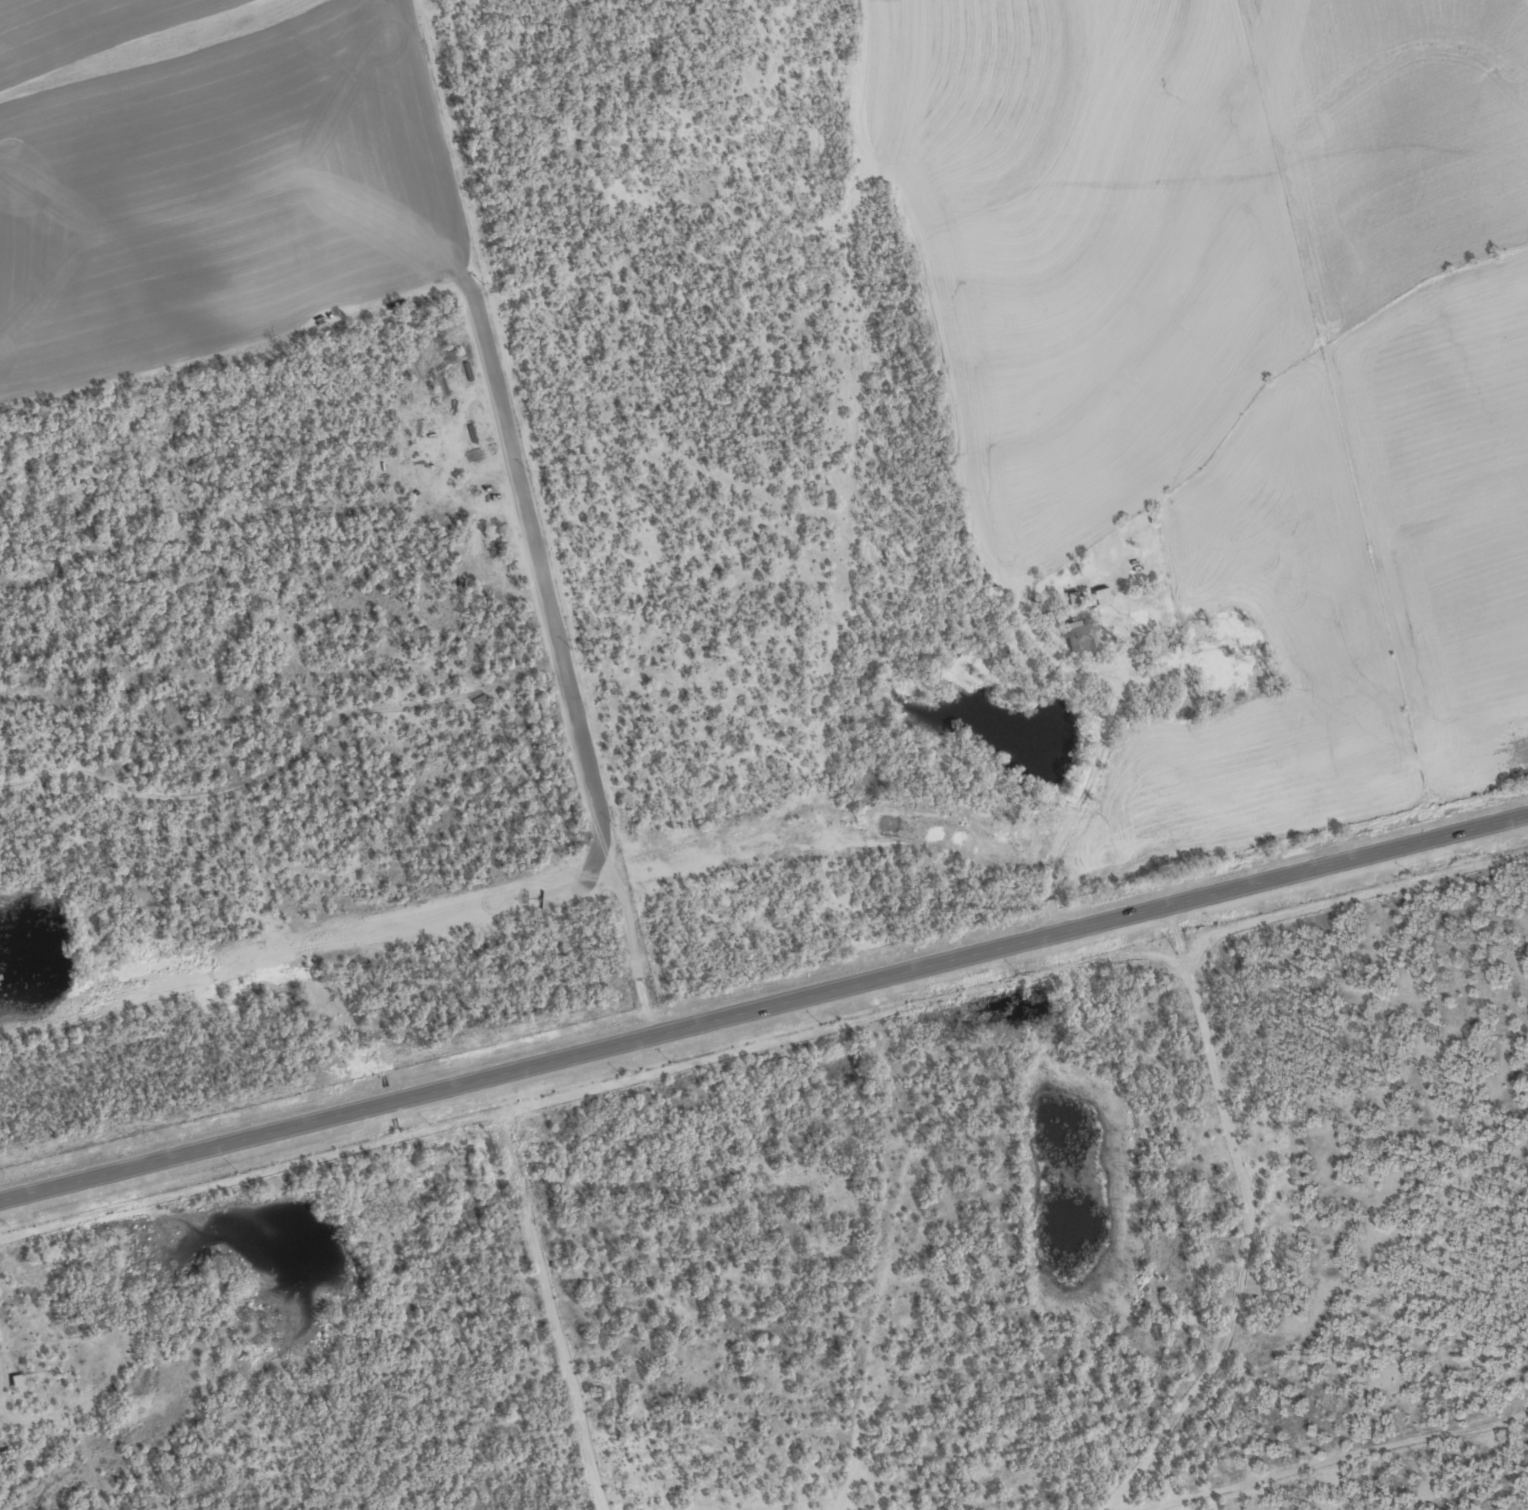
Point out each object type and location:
building: (1104, 598)
building: (1083, 635)
road: (1085, 792)
road: (764, 1009)

